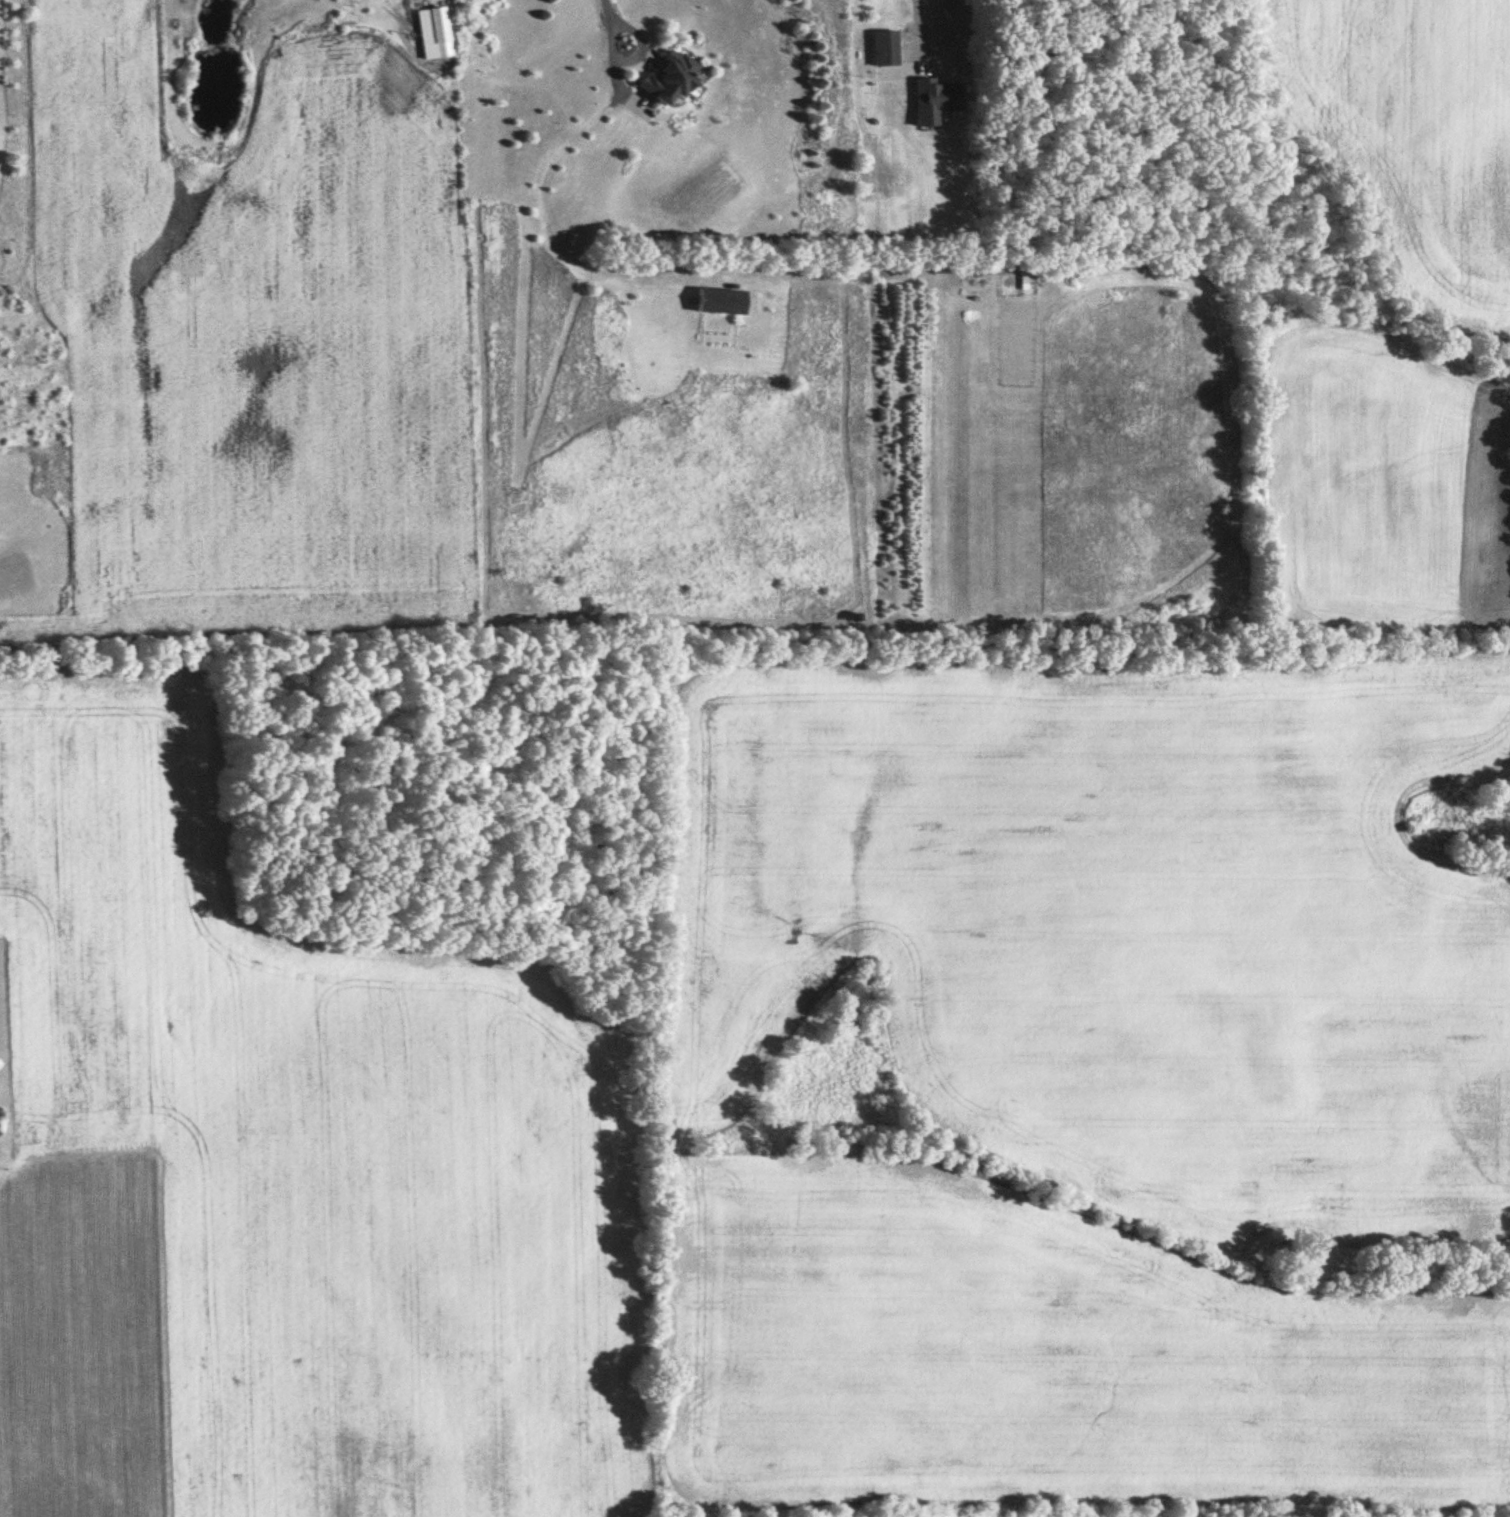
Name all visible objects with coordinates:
road: (610, 11)
road: (933, 22)
building: (885, 48)
road: (633, 56)
building: (670, 79)
building: (937, 101)
building: (721, 301)

